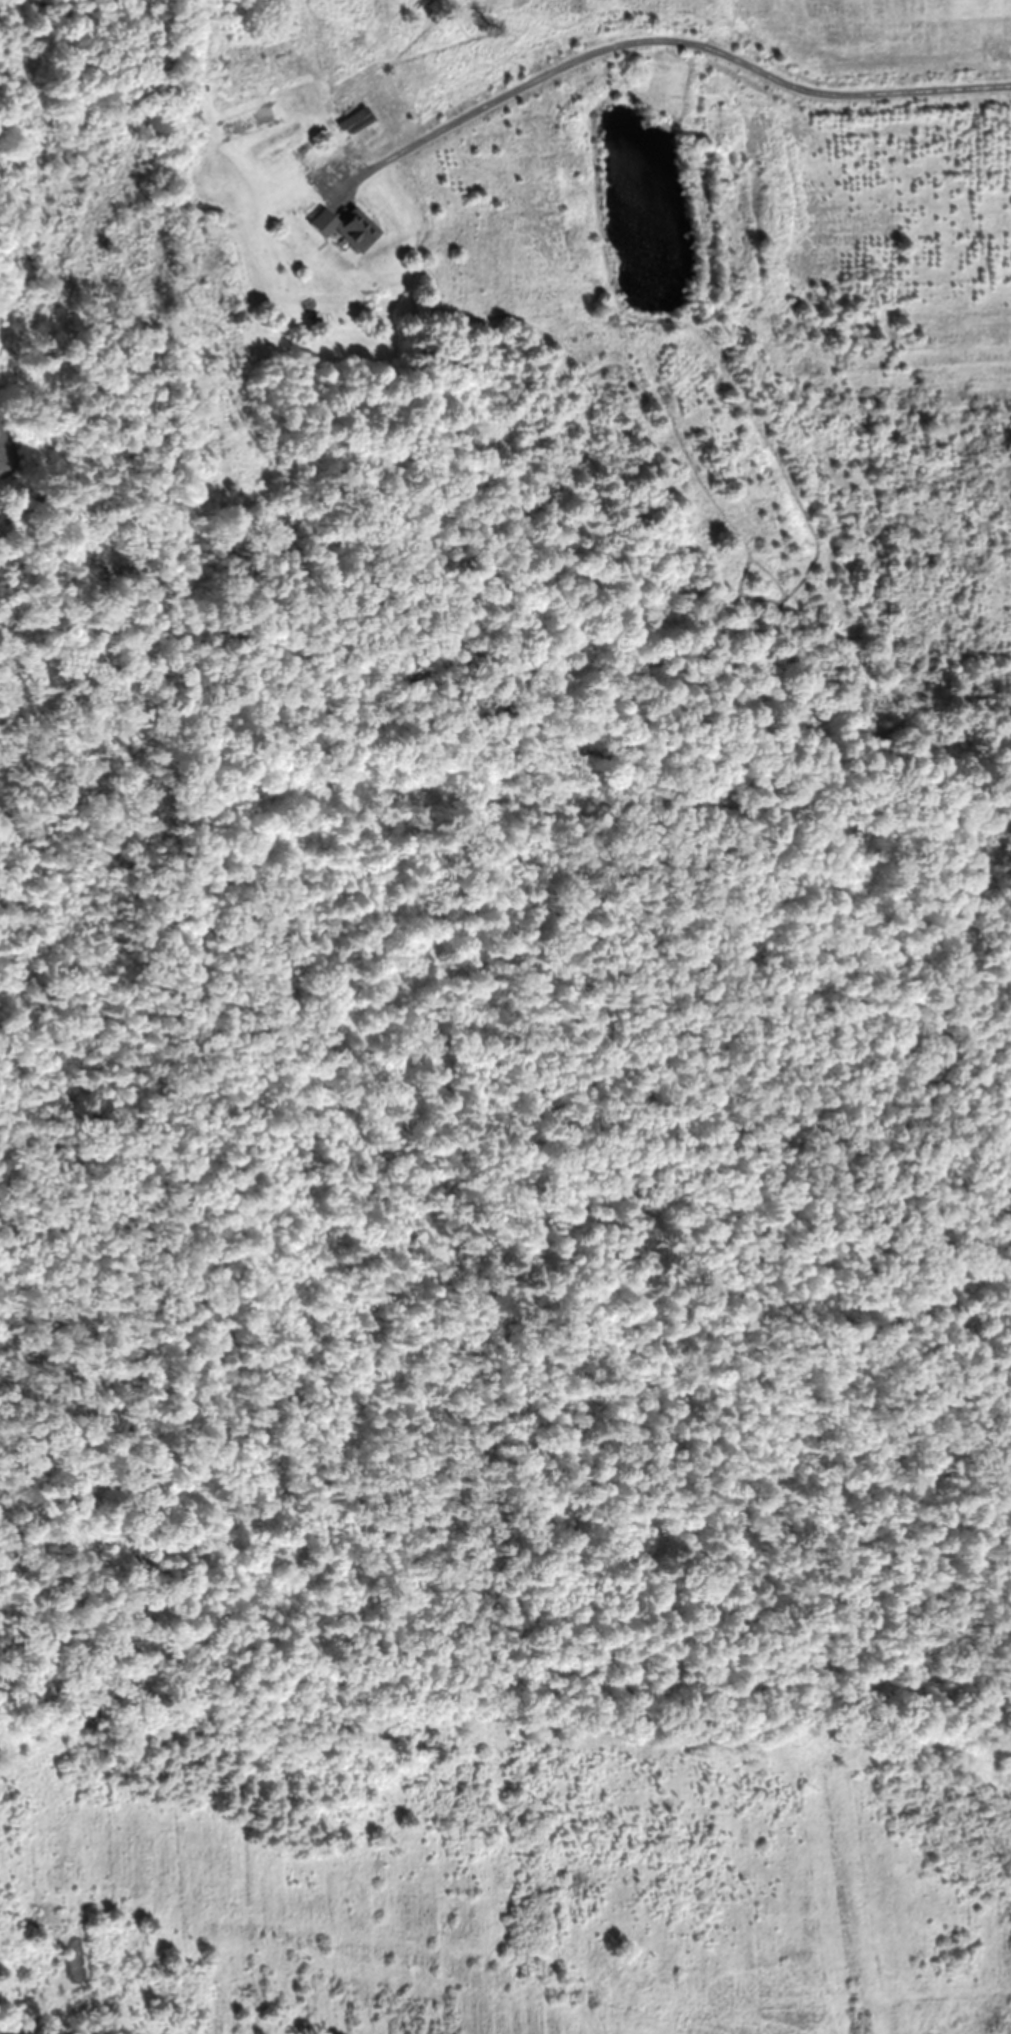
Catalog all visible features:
road: (659, 31)
building: (354, 119)
building: (348, 227)
building: (831, 886)

